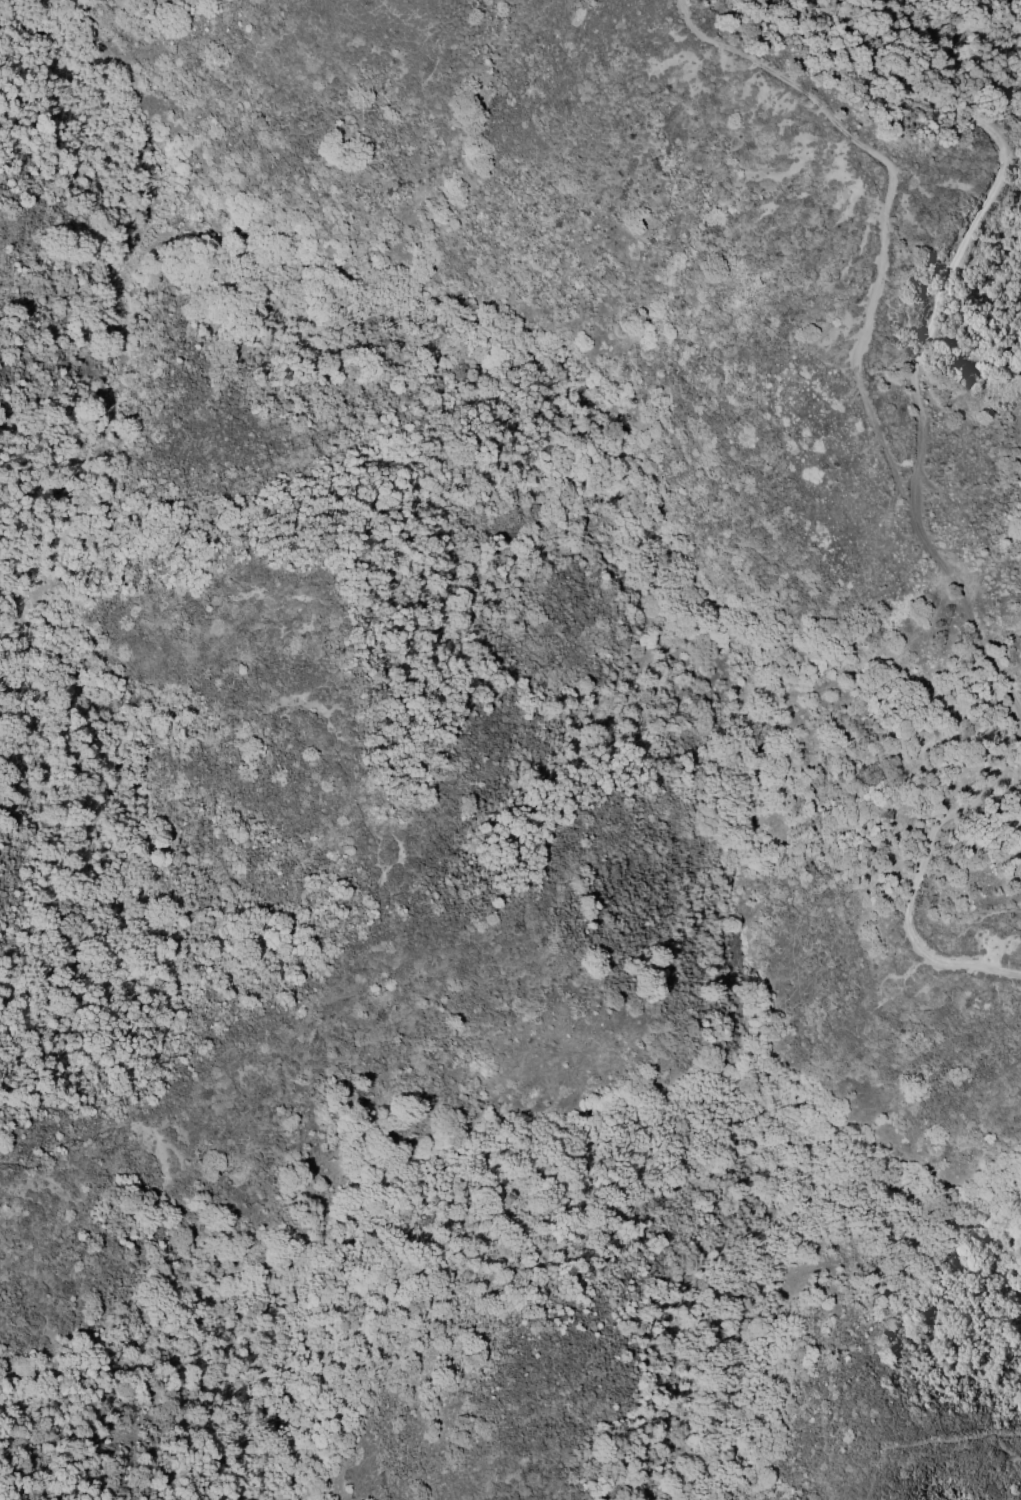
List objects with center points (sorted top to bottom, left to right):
road: (983, 223)
road: (910, 507)
road: (990, 572)

